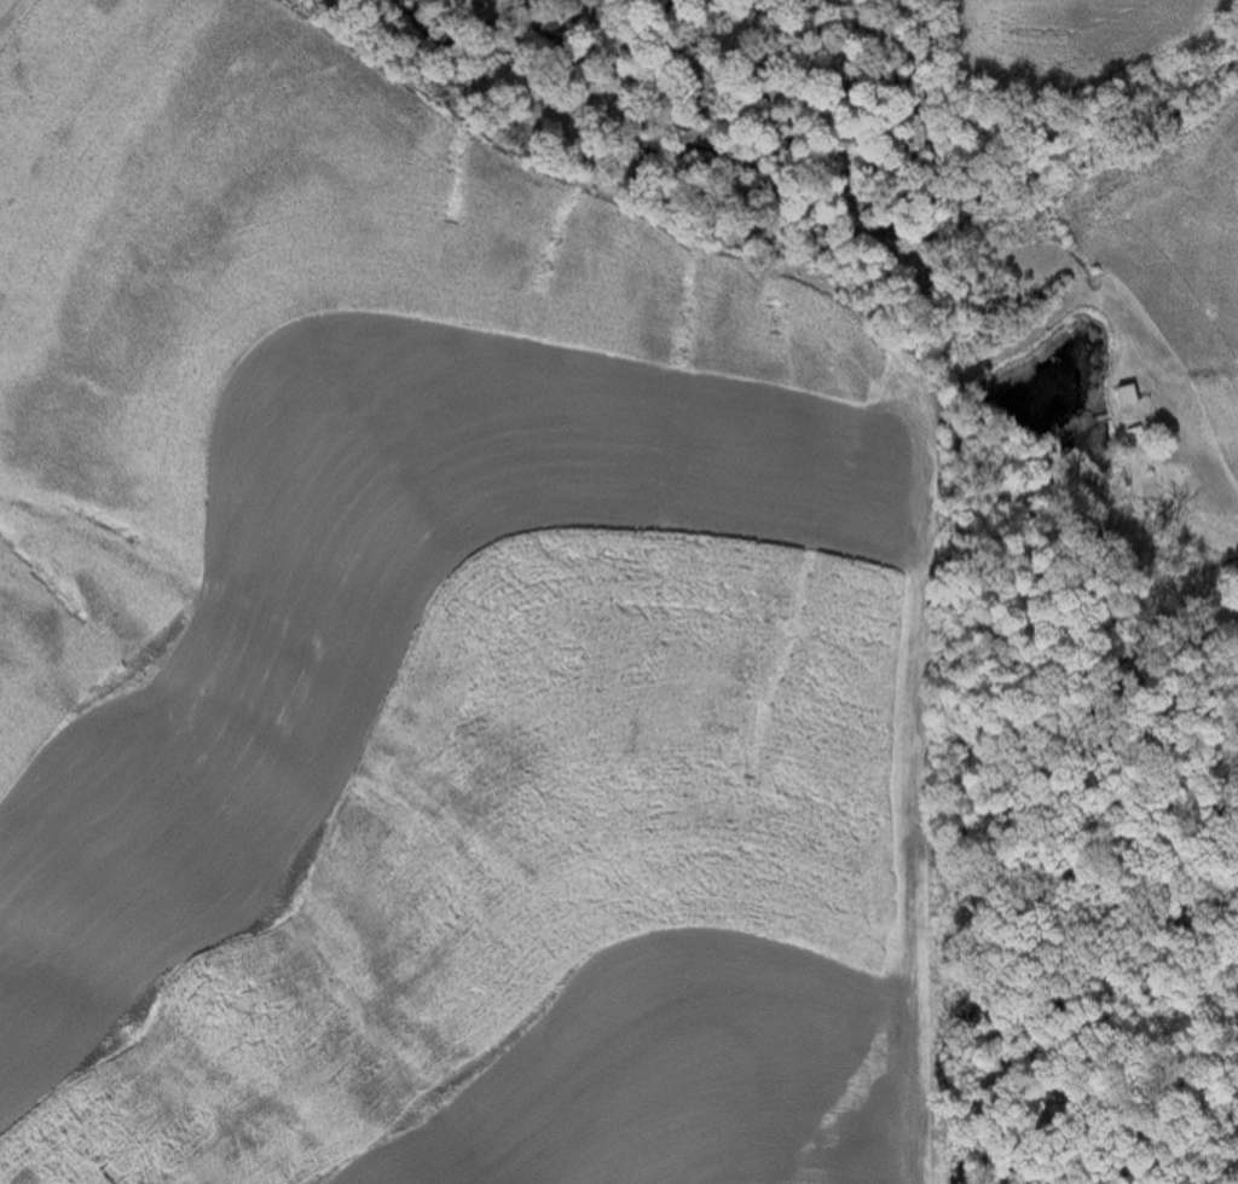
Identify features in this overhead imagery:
building: (1126, 395)
building: (1136, 437)

